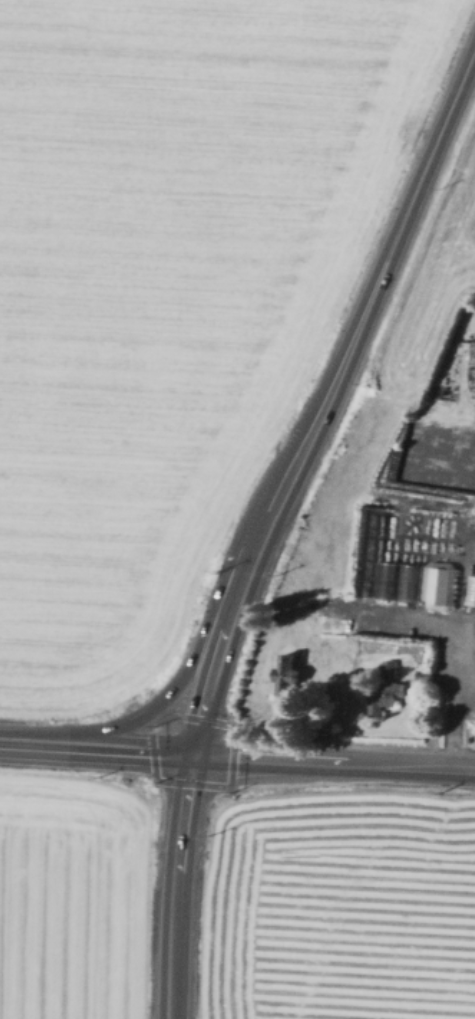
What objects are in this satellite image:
crop: (164, 288)
road: (326, 394)
crop: (389, 534)
building: (401, 580)
building: (445, 587)
building: (470, 589)
road: (460, 598)
road: (196, 647)
road: (458, 649)
building: (303, 652)
building: (289, 676)
building: (426, 676)
building: (385, 691)
road: (466, 701)
road: (38, 742)
road: (134, 748)
traffic signals: (193, 751)
road: (333, 758)
road: (176, 884)
crop: (233, 902)

